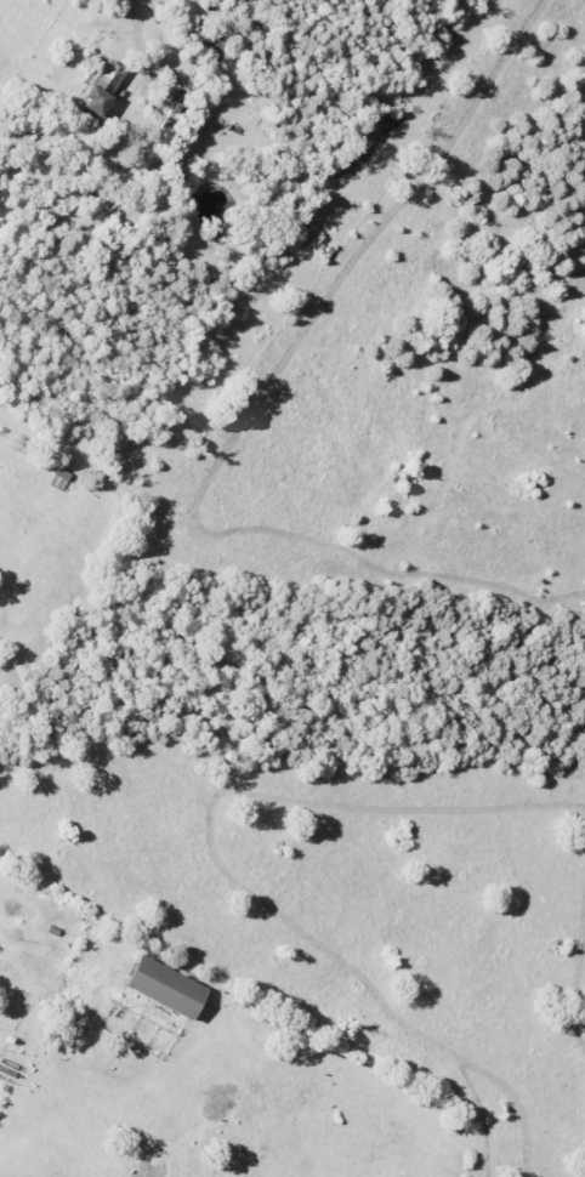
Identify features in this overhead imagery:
road: (129, 16)
building: (211, 38)
building: (100, 87)
building: (161, 988)

